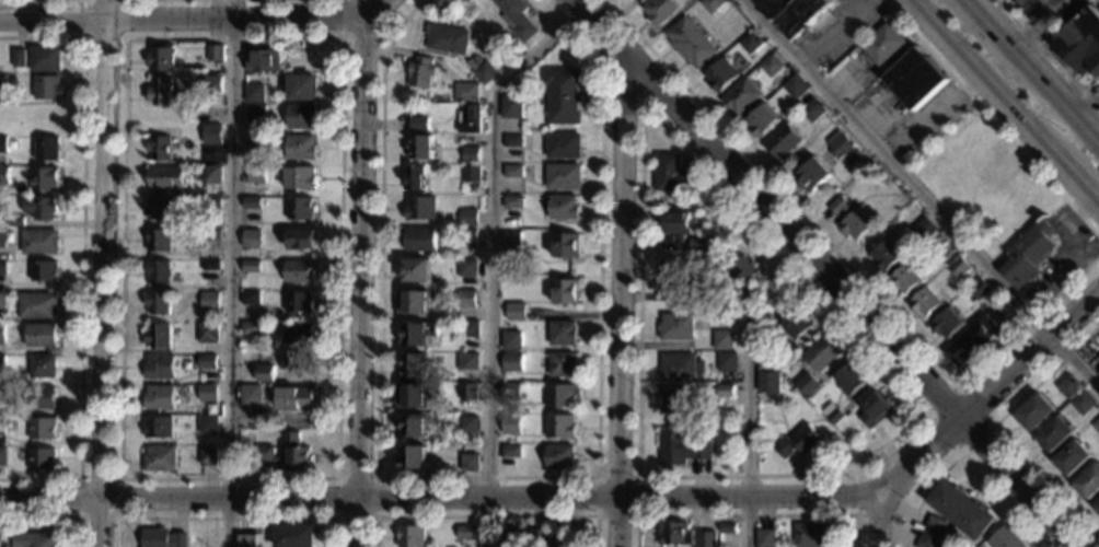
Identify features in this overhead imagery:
building: (471, 1)
building: (639, 1)
building: (712, 5)
road: (1048, 7)
road: (1062, 7)
road: (374, 8)
building: (439, 8)
parking lot: (1044, 11)
building: (659, 12)
building: (794, 14)
road: (182, 15)
building: (516, 19)
road: (990, 21)
road: (1033, 31)
road: (103, 37)
road: (340, 37)
road: (348, 37)
building: (448, 40)
building: (1080, 42)
building: (690, 43)
building: (750, 44)
building: (882, 46)
building: (291, 49)
building: (212, 54)
road: (1049, 54)
building: (16, 59)
building: (160, 59)
building: (42, 60)
building: (264, 62)
road: (608, 66)
building: (772, 66)
building: (421, 73)
building: (485, 73)
building: (720, 77)
road: (983, 79)
building: (915, 80)
building: (1, 83)
building: (211, 85)
building: (795, 88)
building: (44, 89)
building: (301, 89)
building: (159, 92)
road: (1053, 92)
building: (253, 94)
building: (465, 94)
building: (563, 96)
building: (742, 98)
building: (511, 109)
building: (811, 112)
building: (255, 116)
building: (301, 117)
road: (991, 118)
building: (467, 119)
building: (761, 123)
building: (419, 124)
building: (210, 142)
building: (512, 142)
building: (782, 143)
building: (1, 146)
building: (255, 146)
building: (838, 146)
building: (157, 147)
building: (563, 148)
building: (300, 149)
building: (419, 149)
building: (44, 150)
building: (470, 155)
building: (853, 159)
building: (511, 173)
building: (470, 174)
building: (670, 175)
building: (2, 176)
building: (209, 176)
building: (255, 176)
building: (811, 176)
building: (564, 178)
building: (164, 179)
building: (299, 179)
building: (415, 179)
building: (42, 181)
road: (1077, 183)
road: (919, 195)
building: (210, 203)
building: (251, 203)
building: (512, 203)
building: (39, 209)
building: (563, 209)
building: (155, 210)
building: (299, 210)
building: (420, 210)
building: (466, 219)
building: (11, 221)
building: (851, 221)
building: (674, 224)
building: (924, 231)
road: (639, 232)
building: (208, 236)
building: (0, 238)
building: (466, 238)
building: (250, 240)
building: (299, 240)
building: (155, 241)
building: (419, 241)
building: (511, 241)
building: (37, 243)
building: (937, 243)
building: (698, 245)
building: (565, 246)
road: (80, 254)
building: (883, 257)
building: (1029, 257)
road: (491, 258)
road: (845, 264)
building: (208, 267)
building: (250, 267)
building: (0, 268)
building: (958, 269)
building: (466, 270)
building: (743, 271)
building: (42, 272)
building: (155, 272)
road: (230, 272)
building: (299, 272)
road: (361, 272)
building: (417, 272)
road: (824, 272)
road: (103, 273)
building: (673, 280)
building: (905, 281)
building: (967, 282)
building: (979, 291)
building: (565, 293)
building: (248, 298)
building: (467, 300)
building: (1, 301)
road: (621, 302)
building: (208, 303)
building: (414, 303)
building: (926, 303)
building: (155, 304)
building: (299, 304)
building: (35, 306)
building: (514, 313)
building: (1004, 313)
building: (747, 314)
building: (796, 325)
building: (947, 325)
building: (507, 327)
building: (675, 328)
building: (247, 329)
building: (468, 331)
building: (0, 333)
building: (205, 334)
building: (417, 334)
building: (298, 335)
building: (562, 335)
building: (38, 336)
building: (155, 337)
building: (722, 340)
building: (972, 340)
building: (510, 341)
building: (821, 353)
building: (0, 362)
building: (204, 362)
building: (511, 362)
building: (765, 362)
building: (470, 363)
building: (726, 363)
building: (299, 364)
building: (563, 366)
building: (38, 368)
building: (157, 368)
building: (416, 368)
building: (678, 368)
building: (263, 374)
building: (848, 380)
building: (770, 383)
building: (807, 385)
road: (956, 385)
building: (1068, 387)
building: (725, 392)
building: (0, 393)
building: (466, 393)
building: (510, 393)
road: (747, 393)
road: (991, 393)
building: (205, 394)
building: (248, 396)
building: (157, 397)
building: (412, 397)
building: (559, 397)
building: (38, 398)
building: (294, 399)
building: (671, 401)
building: (1083, 403)
building: (875, 411)
building: (1034, 414)
building: (831, 415)
building: (1096, 424)
building: (205, 426)
building: (467, 426)
building: (510, 426)
building: (155, 428)
building: (413, 428)
building: (558, 428)
building: (38, 430)
road: (996, 430)
building: (1054, 435)
building: (797, 444)
building: (683, 449)
building: (474, 452)
building: (298, 453)
building: (510, 453)
building: (0, 454)
road: (965, 456)
building: (205, 457)
building: (412, 458)
building: (559, 458)
building: (157, 459)
building: (1073, 459)
building: (38, 461)
building: (470, 465)
road: (377, 477)
road: (597, 477)
road: (490, 478)
road: (117, 479)
building: (1089, 484)
road: (441, 500)
building: (1097, 509)
building: (961, 512)
road: (855, 513)
road: (745, 515)
road: (227, 517)
road: (486, 517)
road: (53, 519)
road: (881, 521)
building: (726, 529)
building: (932, 533)
building: (466, 534)
building: (673, 534)
building: (294, 536)
building: (410, 536)
building: (812, 536)
building: (160, 538)
building: (539, 538)
building: (507, 539)
building: (704, 539)
building: (765, 539)
building: (1004, 539)
building: (32, 540)
building: (245, 540)
road: (1061, 543)

